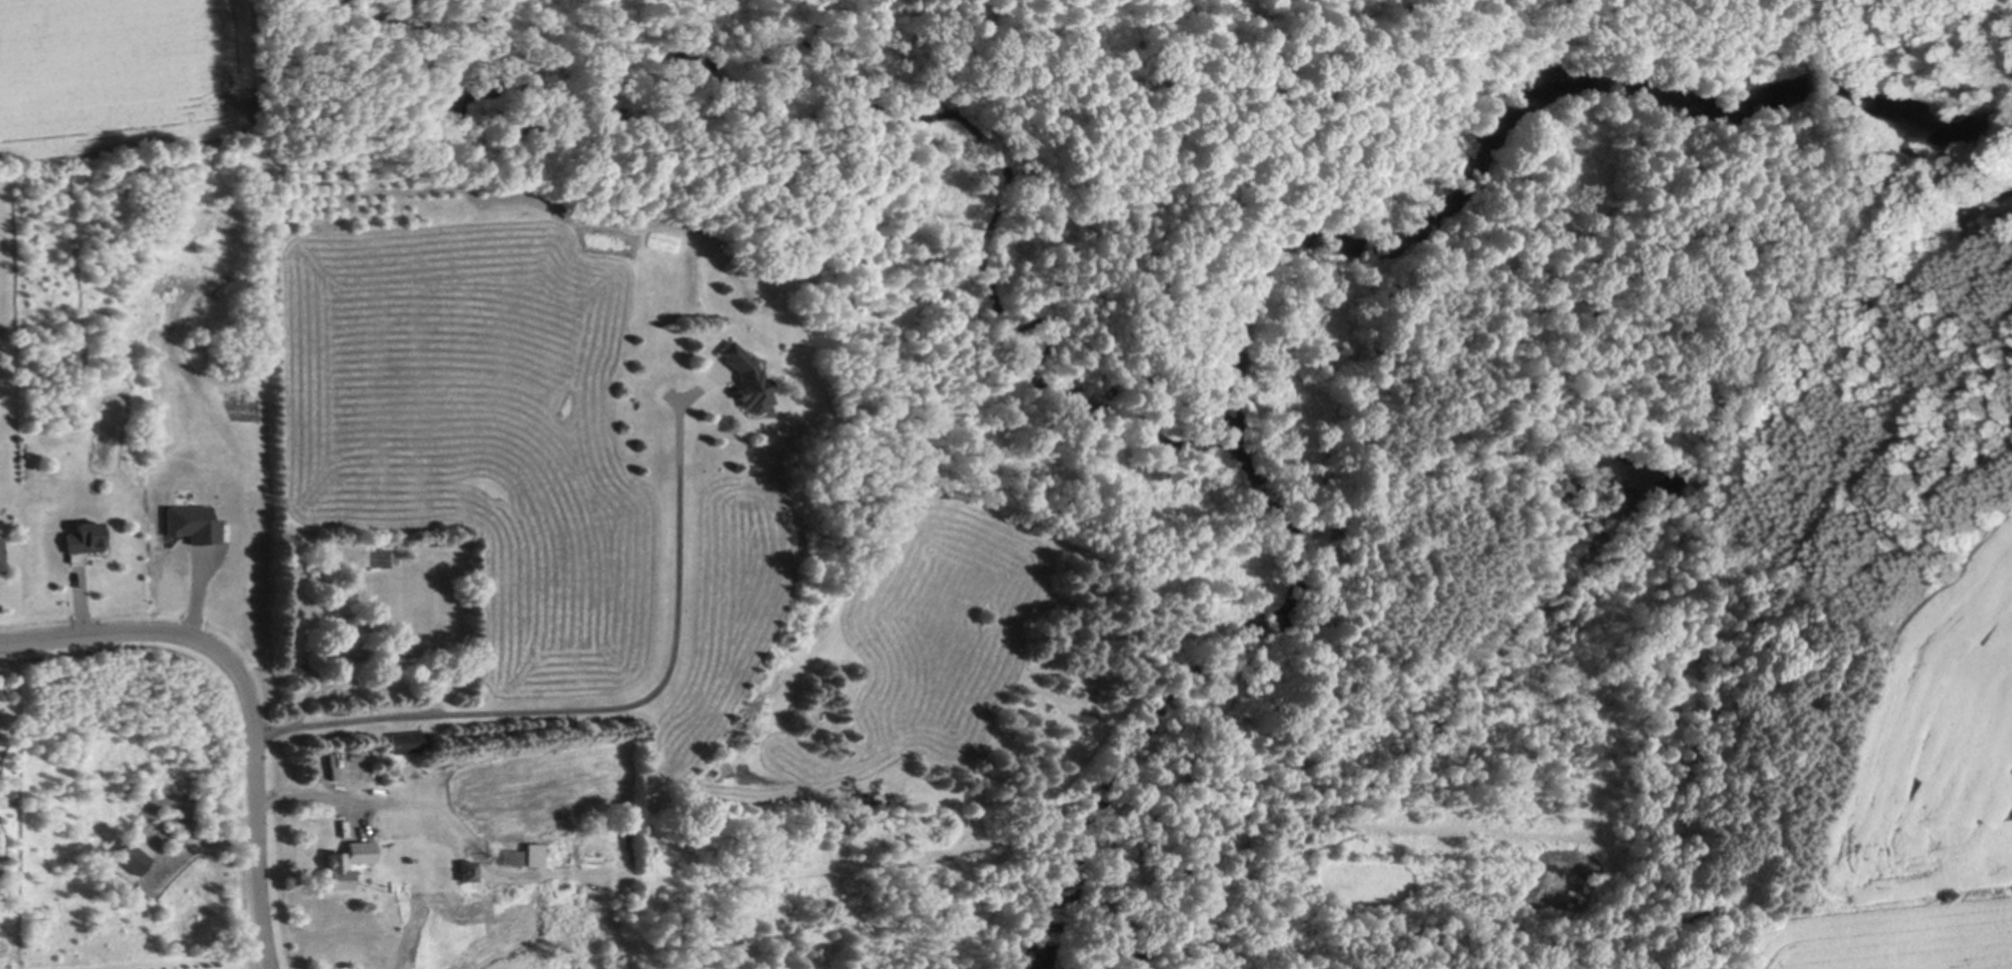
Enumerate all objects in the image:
crop: (124, 76)
river: (1341, 298)
building: (745, 378)
building: (189, 523)
building: (84, 537)
building: (1, 557)
building: (0, 570)
building: (424, 650)
building: (341, 652)
road: (244, 694)
road: (612, 706)
building: (407, 741)
building: (342, 760)
building: (1313, 761)
road: (311, 790)
building: (522, 855)
building: (132, 857)
building: (338, 869)
building: (467, 869)
building: (418, 905)

